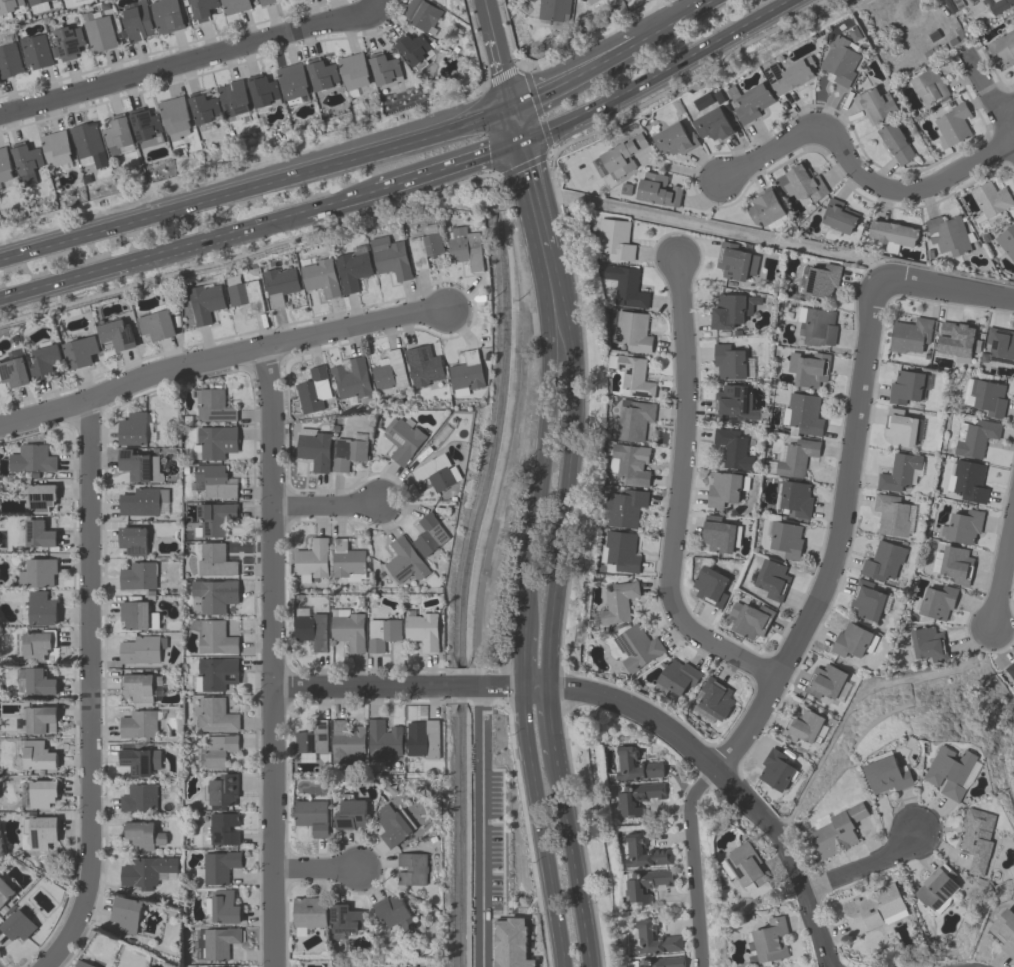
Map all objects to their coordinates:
building: (971, 0)
building: (591, 1)
building: (265, 2)
building: (37, 5)
building: (235, 5)
building: (998, 5)
building: (9, 7)
road: (376, 8)
building: (202, 9)
building: (554, 10)
building: (166, 15)
building: (420, 15)
building: (137, 20)
road: (672, 20)
building: (98, 31)
building: (67, 41)
building: (1002, 46)
building: (415, 50)
building: (35, 51)
road: (497, 52)
building: (9, 60)
building: (840, 60)
road: (188, 65)
building: (384, 68)
building: (353, 71)
building: (321, 73)
road: (573, 73)
road: (654, 73)
building: (789, 74)
building: (292, 82)
building: (929, 85)
building: (264, 91)
building: (233, 98)
road: (990, 101)
building: (752, 102)
building: (874, 104)
traffic signals: (510, 105)
road: (1005, 107)
building: (203, 108)
road: (500, 108)
building: (175, 117)
road: (515, 123)
building: (953, 123)
building: (713, 124)
building: (146, 128)
building: (117, 132)
building: (675, 139)
traffic signals: (521, 142)
building: (895, 142)
building: (87, 144)
road: (510, 147)
building: (56, 149)
building: (623, 154)
building: (26, 161)
building: (5, 165)
road: (853, 165)
road: (438, 173)
building: (803, 182)
road: (245, 185)
building: (0, 187)
building: (657, 189)
building: (991, 198)
road: (340, 205)
building: (766, 209)
building: (838, 218)
building: (893, 233)
road: (545, 234)
building: (949, 235)
building: (615, 239)
building: (1007, 241)
building: (424, 248)
building: (465, 248)
building: (390, 257)
road: (151, 258)
building: (735, 261)
building: (353, 268)
building: (320, 277)
building: (821, 280)
building: (280, 284)
building: (626, 286)
road: (944, 289)
building: (244, 293)
building: (205, 302)
building: (731, 309)
building: (157, 325)
building: (816, 325)
building: (633, 331)
building: (117, 334)
building: (910, 335)
building: (957, 340)
building: (1000, 344)
building: (80, 351)
building: (45, 360)
building: (729, 361)
building: (423, 365)
road: (222, 366)
building: (808, 368)
building: (13, 373)
building: (388, 373)
building: (466, 374)
building: (632, 375)
building: (351, 378)
building: (906, 386)
building: (313, 389)
building: (988, 397)
building: (733, 404)
building: (213, 405)
building: (802, 414)
building: (633, 419)
building: (900, 427)
building: (132, 428)
building: (974, 437)
building: (402, 438)
building: (214, 442)
building: (315, 447)
building: (733, 448)
building: (349, 451)
building: (793, 457)
building: (31, 458)
building: (630, 462)
building: (138, 465)
building: (437, 472)
building: (899, 472)
road: (541, 478)
building: (966, 479)
building: (213, 481)
building: (725, 488)
road: (677, 495)
building: (40, 497)
building: (796, 497)
building: (142, 501)
road: (322, 504)
building: (624, 507)
building: (893, 515)
building: (214, 518)
building: (964, 528)
building: (38, 533)
building: (429, 534)
building: (716, 534)
building: (133, 539)
building: (786, 539)
building: (621, 550)
building: (312, 559)
building: (214, 560)
building: (347, 561)
building: (405, 561)
building: (886, 562)
building: (954, 565)
road: (1002, 571)
building: (37, 572)
building: (138, 575)
building: (772, 579)
building: (709, 585)
building: (213, 595)
building: (869, 601)
building: (618, 602)
building: (937, 602)
building: (41, 608)
building: (137, 614)
building: (750, 619)
building: (311, 627)
building: (348, 628)
building: (423, 630)
road: (478, 630)
building: (382, 633)
building: (213, 636)
road: (792, 636)
building: (854, 641)
building: (37, 644)
building: (928, 644)
road: (548, 646)
building: (636, 647)
building: (141, 649)
road: (524, 658)
road: (270, 661)
building: (1010, 669)
building: (216, 673)
building: (677, 676)
building: (39, 682)
building: (829, 683)
building: (141, 686)
road: (534, 686)
road: (397, 687)
road: (89, 690)
building: (714, 697)
building: (214, 714)
building: (39, 718)
building: (139, 724)
building: (806, 726)
building: (311, 738)
building: (423, 738)
building: (382, 739)
building: (345, 741)
building: (218, 749)
building: (37, 755)
building: (139, 759)
building: (650, 764)
building: (776, 770)
building: (950, 771)
building: (886, 774)
road: (727, 784)
building: (222, 789)
building: (42, 792)
building: (139, 797)
building: (637, 797)
building: (350, 812)
building: (311, 815)
building: (393, 824)
road: (541, 826)
building: (223, 828)
building: (40, 831)
building: (837, 831)
building: (142, 834)
building: (977, 837)
building: (634, 849)
road: (863, 863)
building: (219, 866)
building: (412, 868)
building: (746, 868)
building: (146, 870)
road: (314, 872)
building: (643, 884)
building: (936, 889)
building: (5, 891)
building: (222, 906)
building: (875, 908)
building: (393, 912)
building: (126, 913)
building: (308, 913)
building: (346, 918)
building: (17, 925)
building: (1005, 931)
building: (654, 938)
building: (769, 940)
building: (219, 941)
building: (658, 962)
building: (82, 964)

